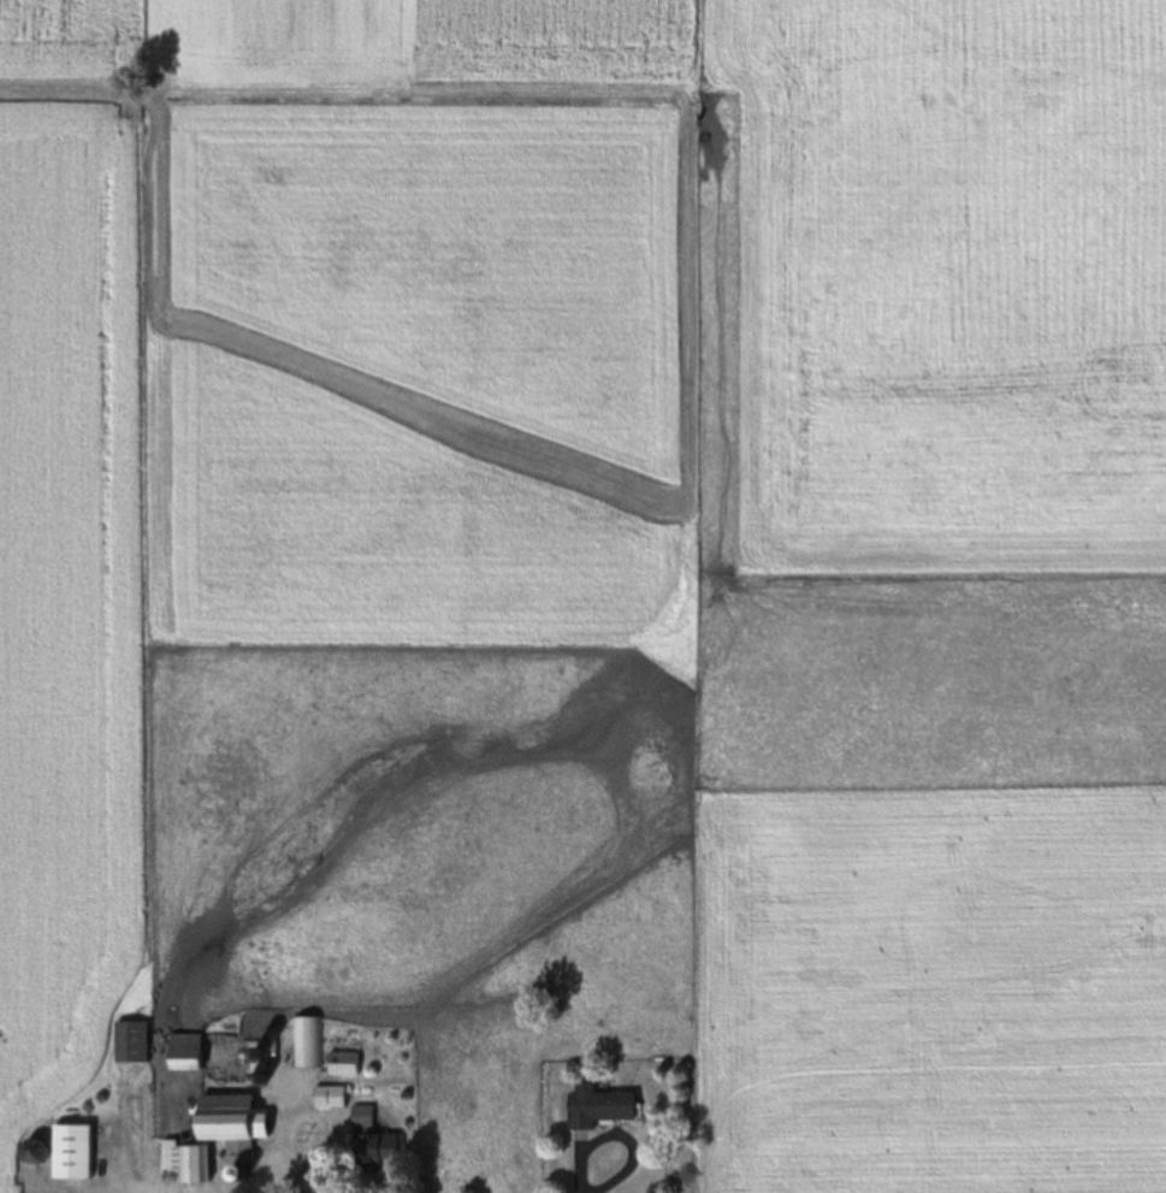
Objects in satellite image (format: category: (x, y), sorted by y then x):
building: (130, 1043)
building: (308, 1043)
building: (184, 1052)
building: (343, 1064)
building: (330, 1097)
building: (596, 1108)
building: (362, 1117)
building: (213, 1133)
building: (372, 1151)
building: (70, 1152)

